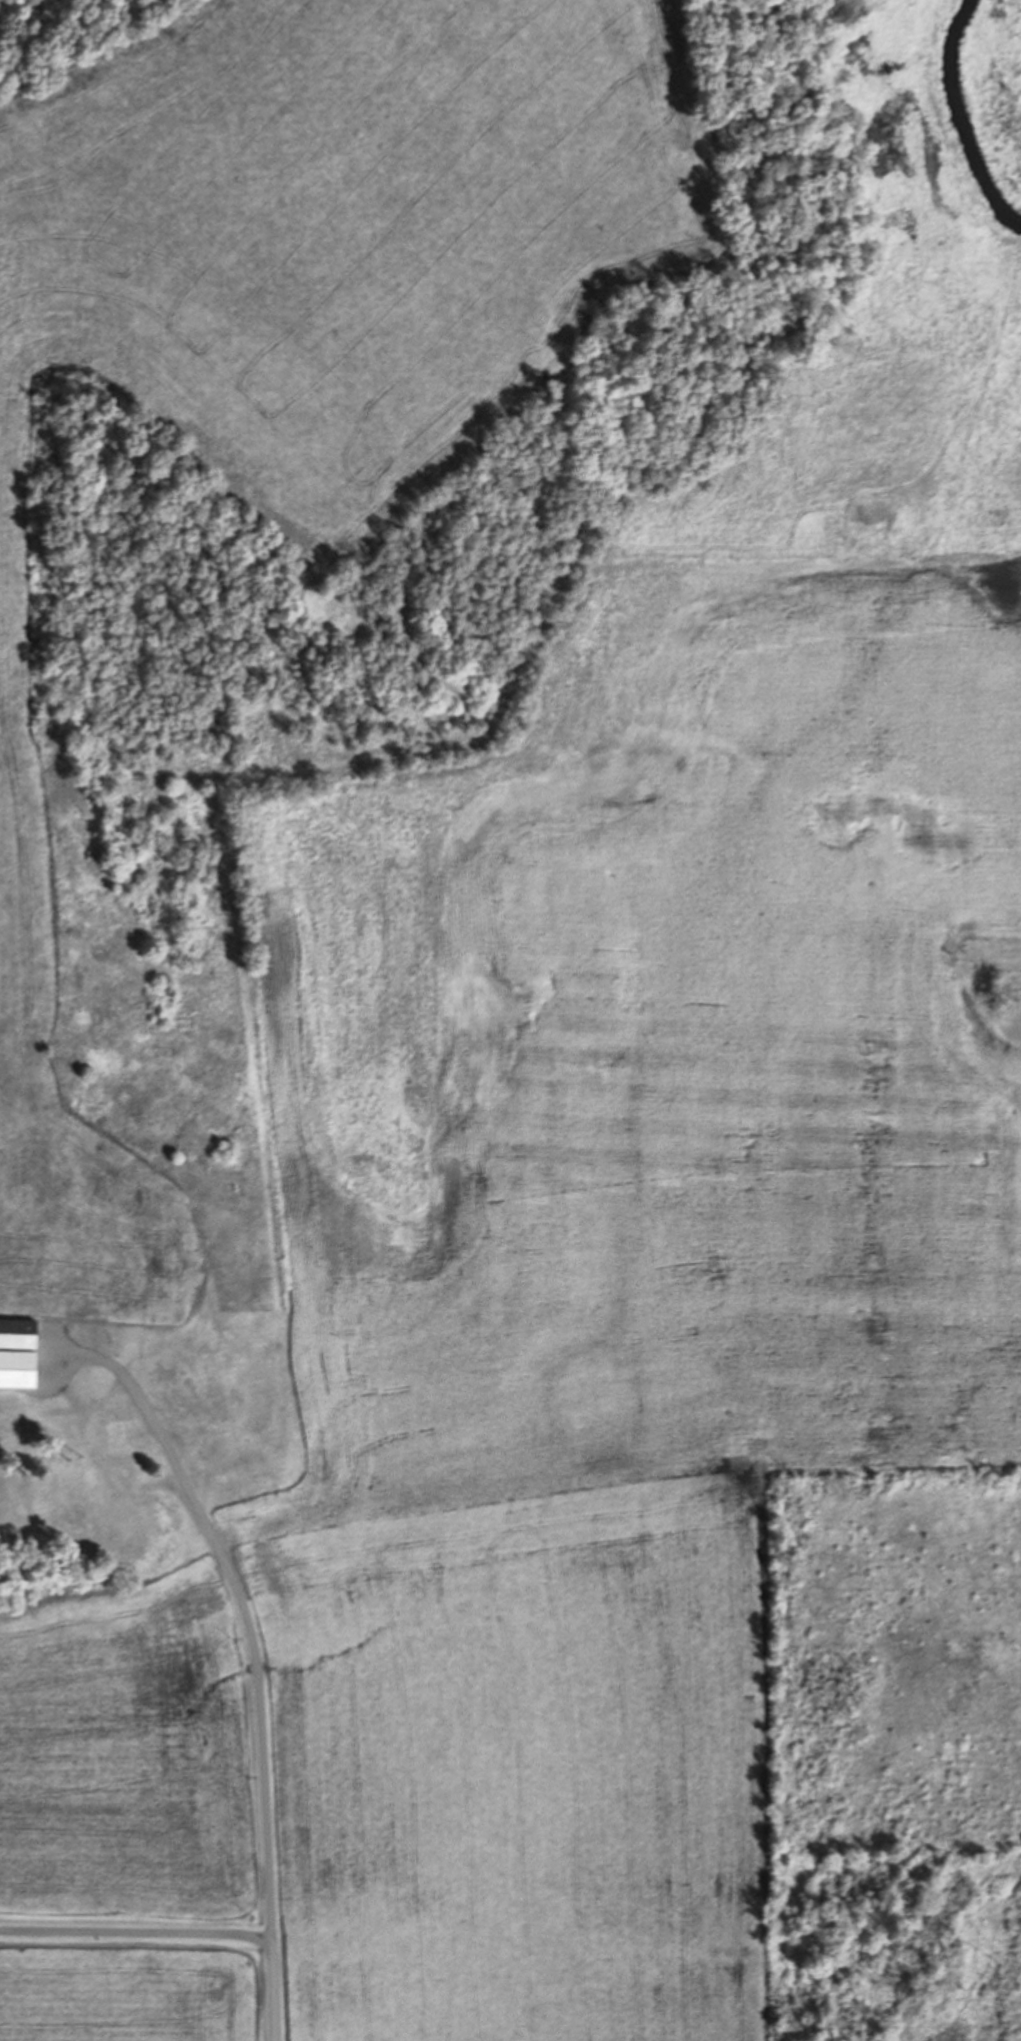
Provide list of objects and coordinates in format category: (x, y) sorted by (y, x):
building: (19, 1334)
building: (19, 1369)
building: (9, 1429)
building: (246, 1449)
road: (251, 1642)
road: (184, 1932)

